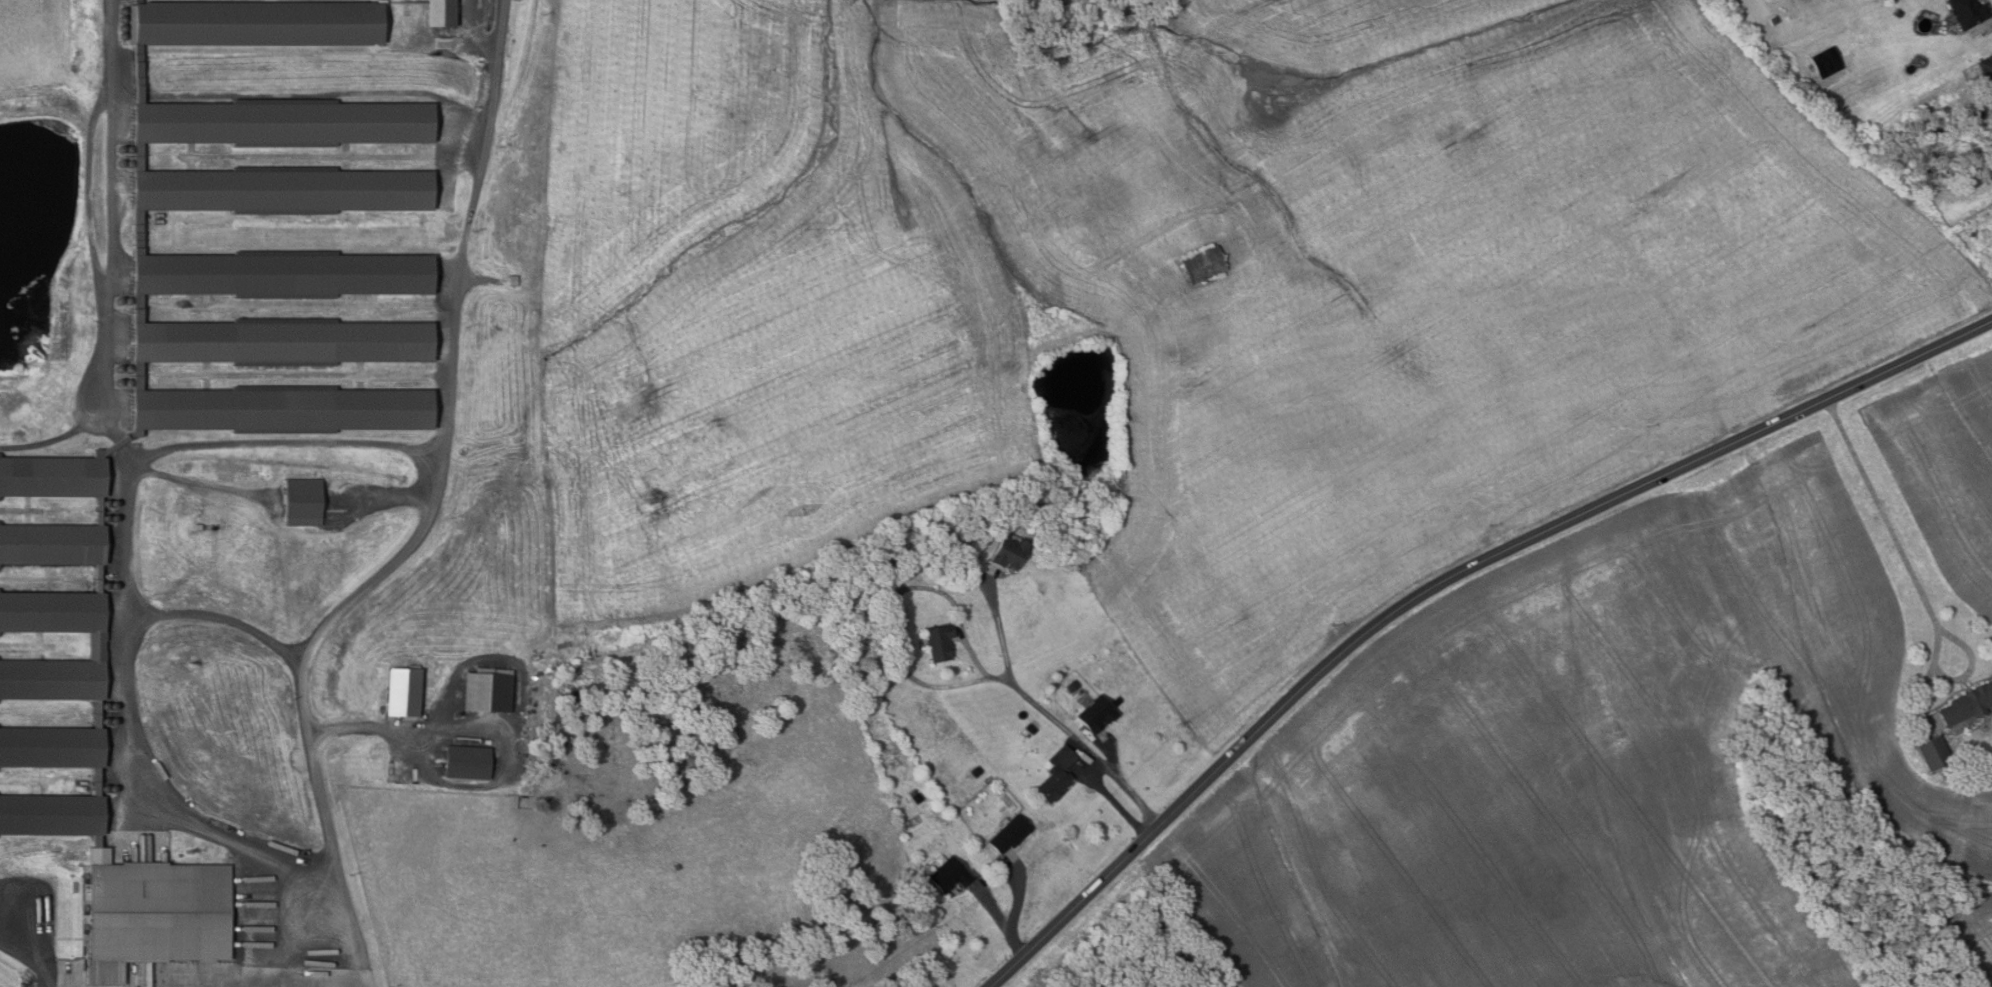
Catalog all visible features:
crop: (1046, 8)
building: (445, 11)
building: (1968, 13)
building: (262, 20)
building: (1773, 20)
road: (1987, 29)
building: (1826, 64)
building: (1986, 69)
building: (286, 122)
road: (436, 125)
building: (290, 188)
building: (1205, 264)
building: (287, 272)
crop: (1183, 285)
road: (444, 335)
building: (283, 342)
road: (97, 394)
building: (283, 410)
road: (280, 443)
crop: (1945, 465)
building: (53, 476)
building: (306, 501)
road: (1885, 516)
building: (53, 544)
building: (1011, 552)
building: (903, 571)
road: (1439, 578)
road: (893, 613)
road: (1000, 626)
building: (940, 642)
building: (97, 646)
crop: (1836, 654)
road: (292, 662)
building: (1071, 685)
building: (406, 691)
building: (490, 691)
building: (1117, 701)
building: (1969, 704)
building: (1097, 714)
road: (490, 734)
building: (52, 746)
road: (1087, 749)
road: (1111, 752)
building: (1933, 752)
building: (467, 763)
building: (974, 771)
building: (1054, 774)
crop: (1517, 796)
building: (915, 797)
road: (1114, 801)
road: (164, 802)
road: (326, 811)
building: (52, 814)
building: (1009, 834)
building: (949, 875)
road: (1020, 896)
road: (993, 910)
building: (161, 911)
building: (1155, 920)
road: (283, 932)
road: (30, 938)
road: (1017, 943)
road: (13, 950)
road: (318, 980)
building: (733, 981)

